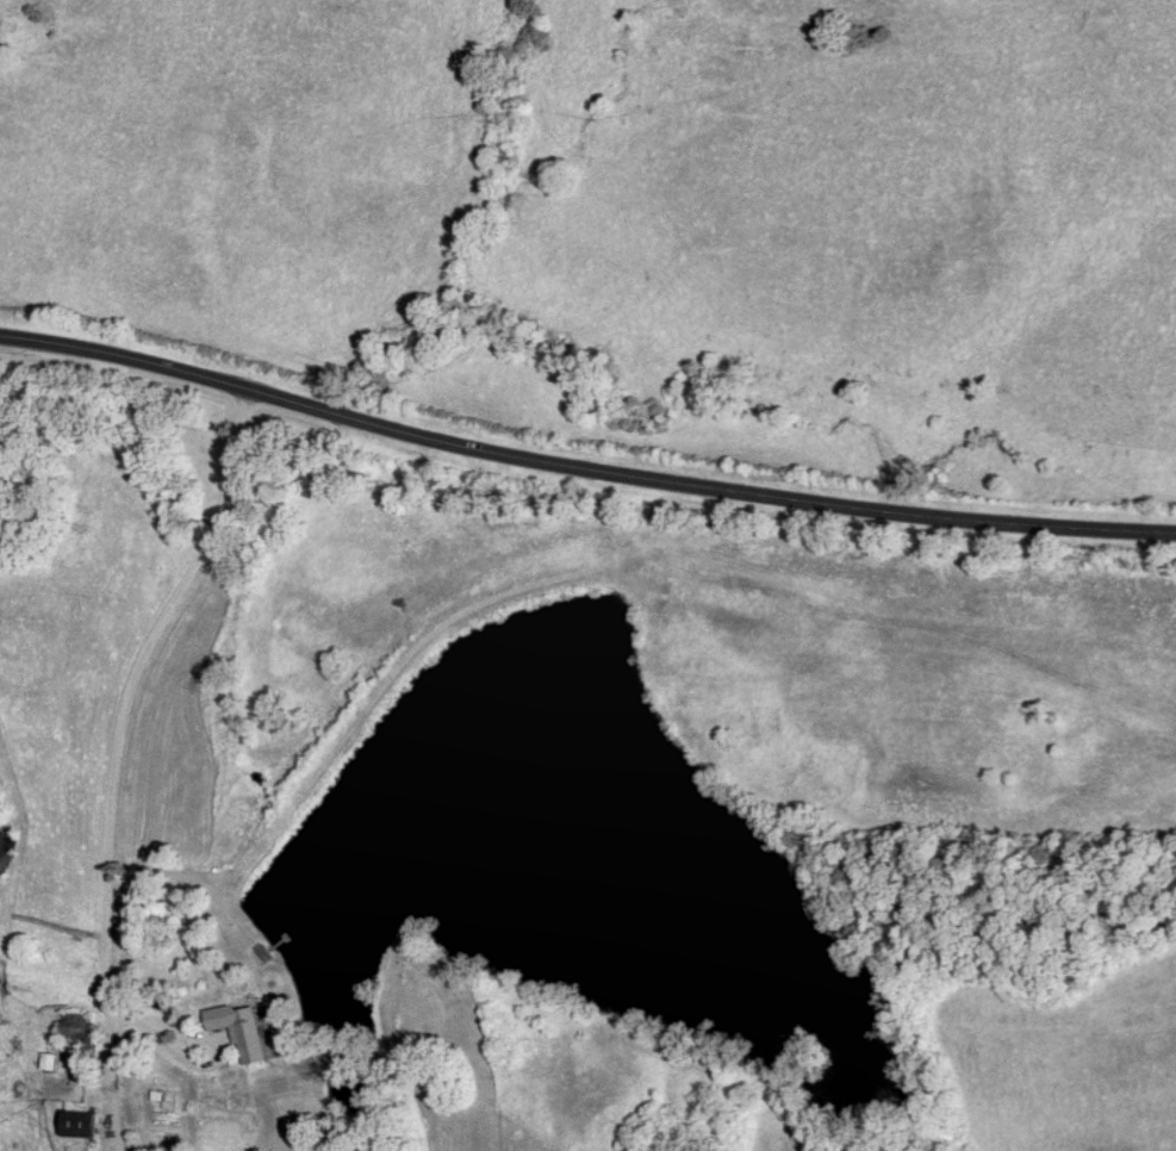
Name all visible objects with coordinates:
road: (581, 473)
road: (119, 758)
building: (71, 1027)
road: (188, 1027)
building: (241, 1031)
road: (167, 1040)
building: (74, 1125)

